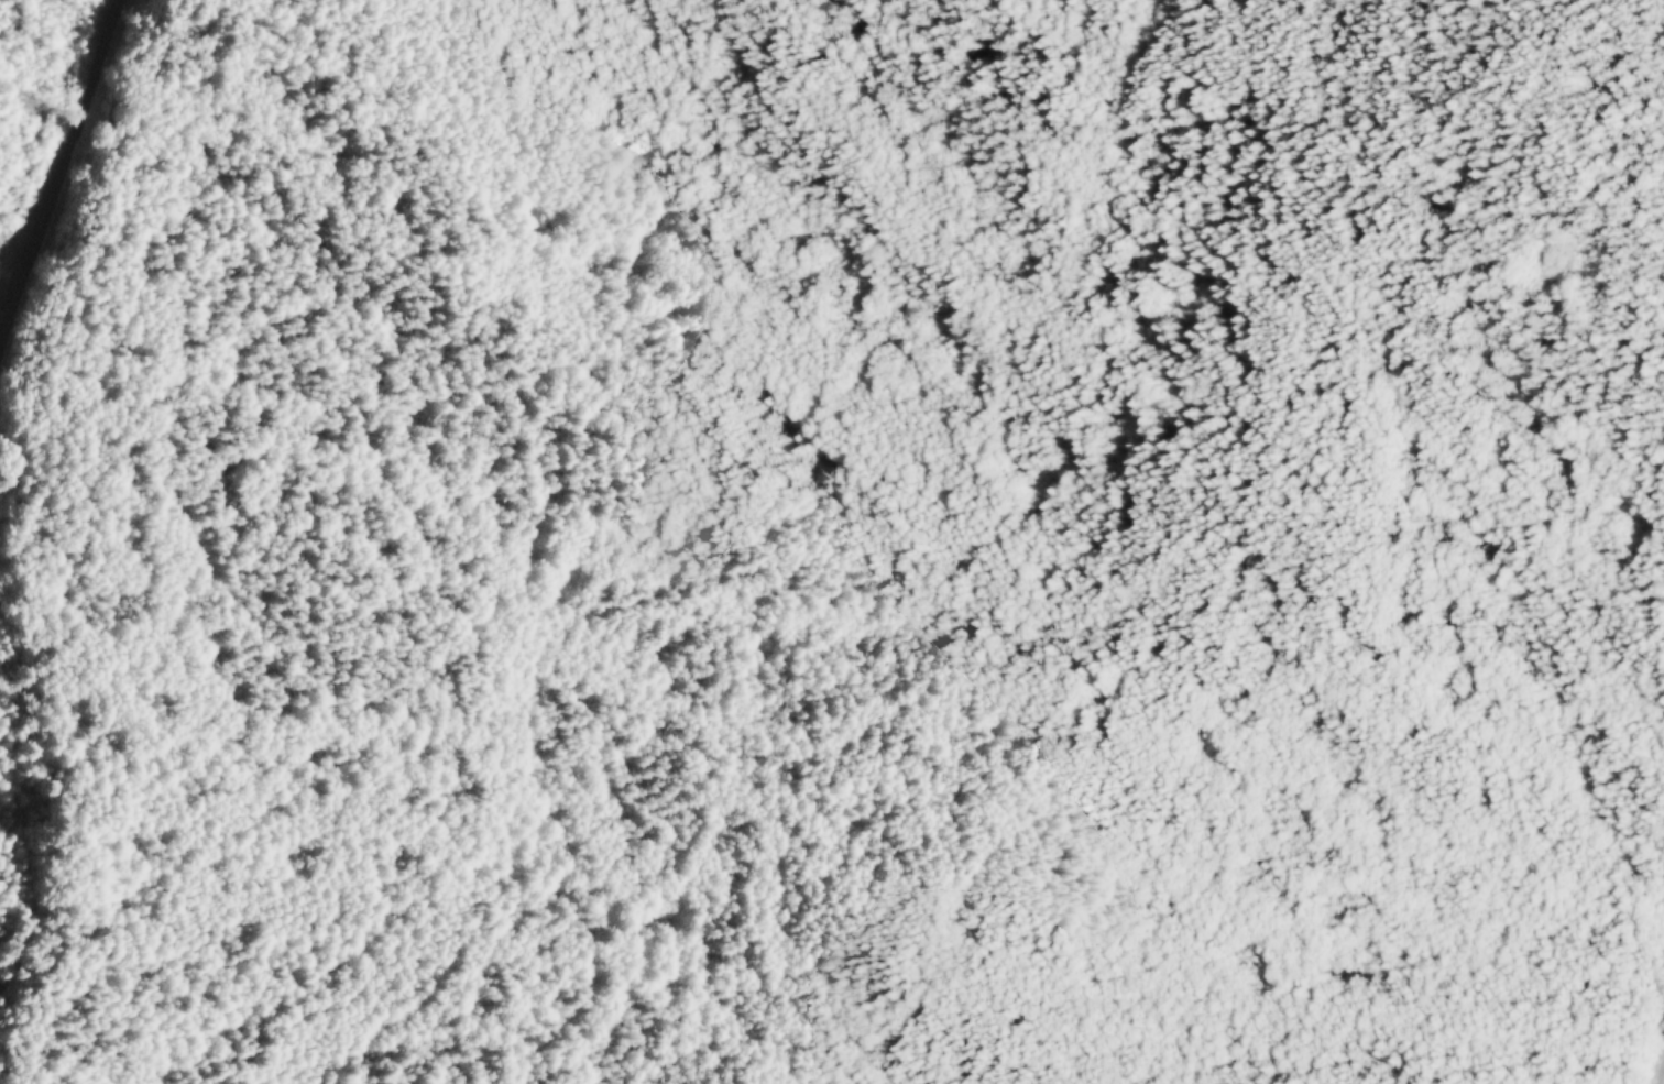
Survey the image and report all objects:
road: (62, 197)

